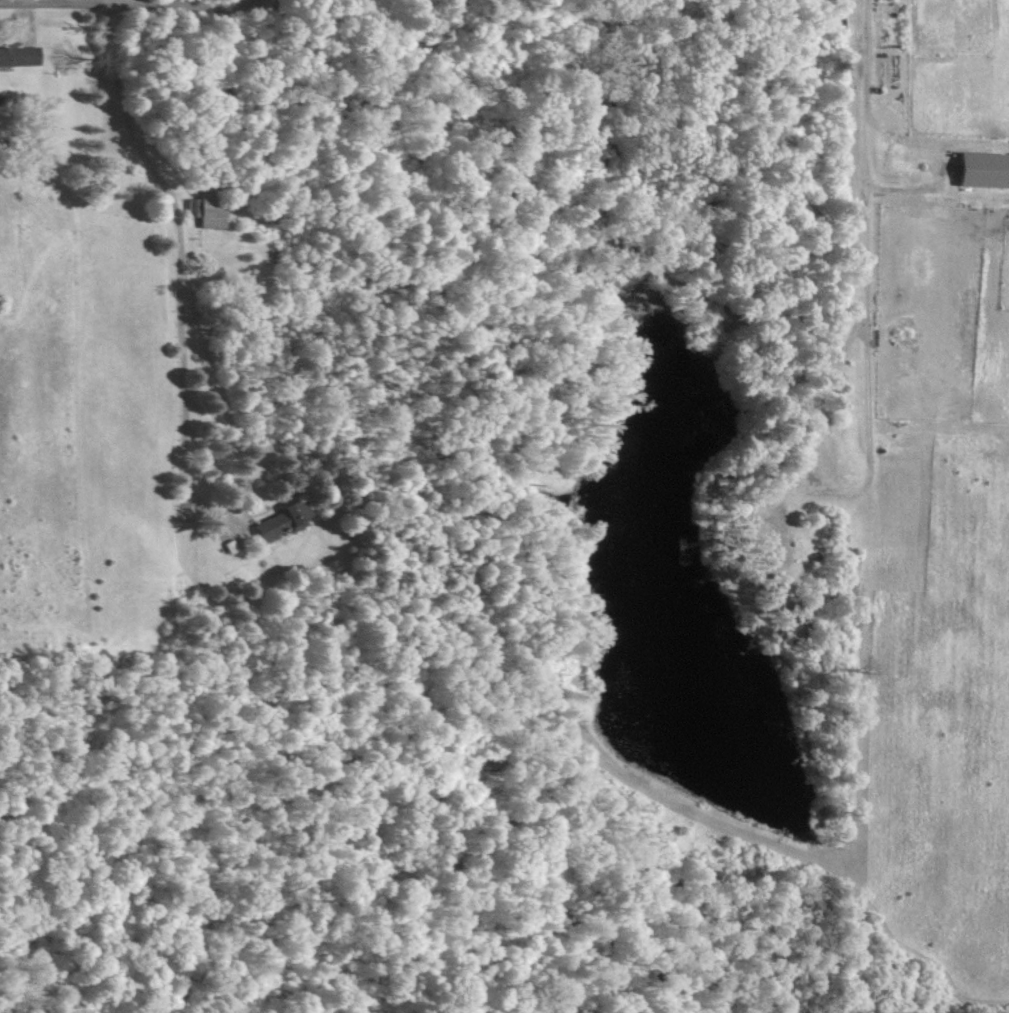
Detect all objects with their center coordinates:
road: (126, 3)
building: (18, 57)
road: (860, 124)
building: (980, 170)
building: (205, 208)
road: (180, 248)
building: (281, 520)

